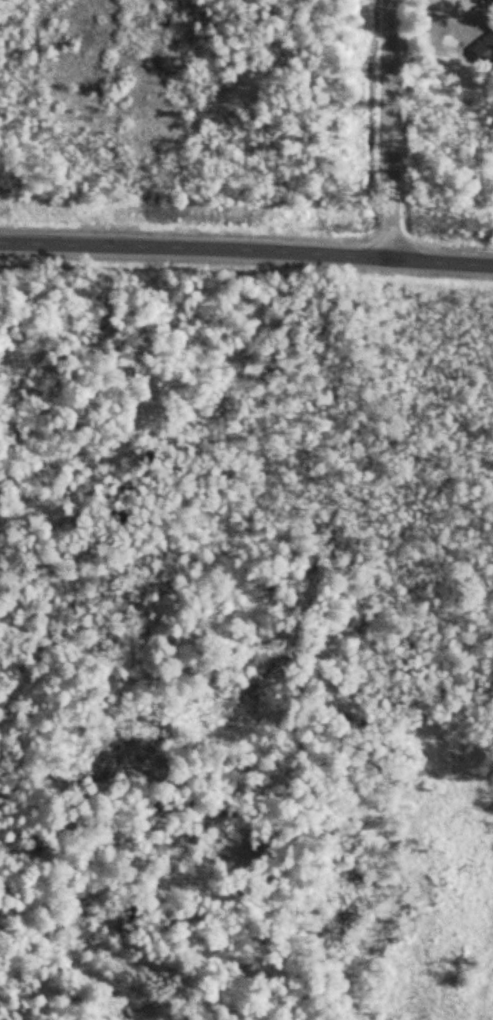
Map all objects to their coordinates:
building: (482, 50)
road: (393, 130)
road: (246, 256)
road: (71, 943)

